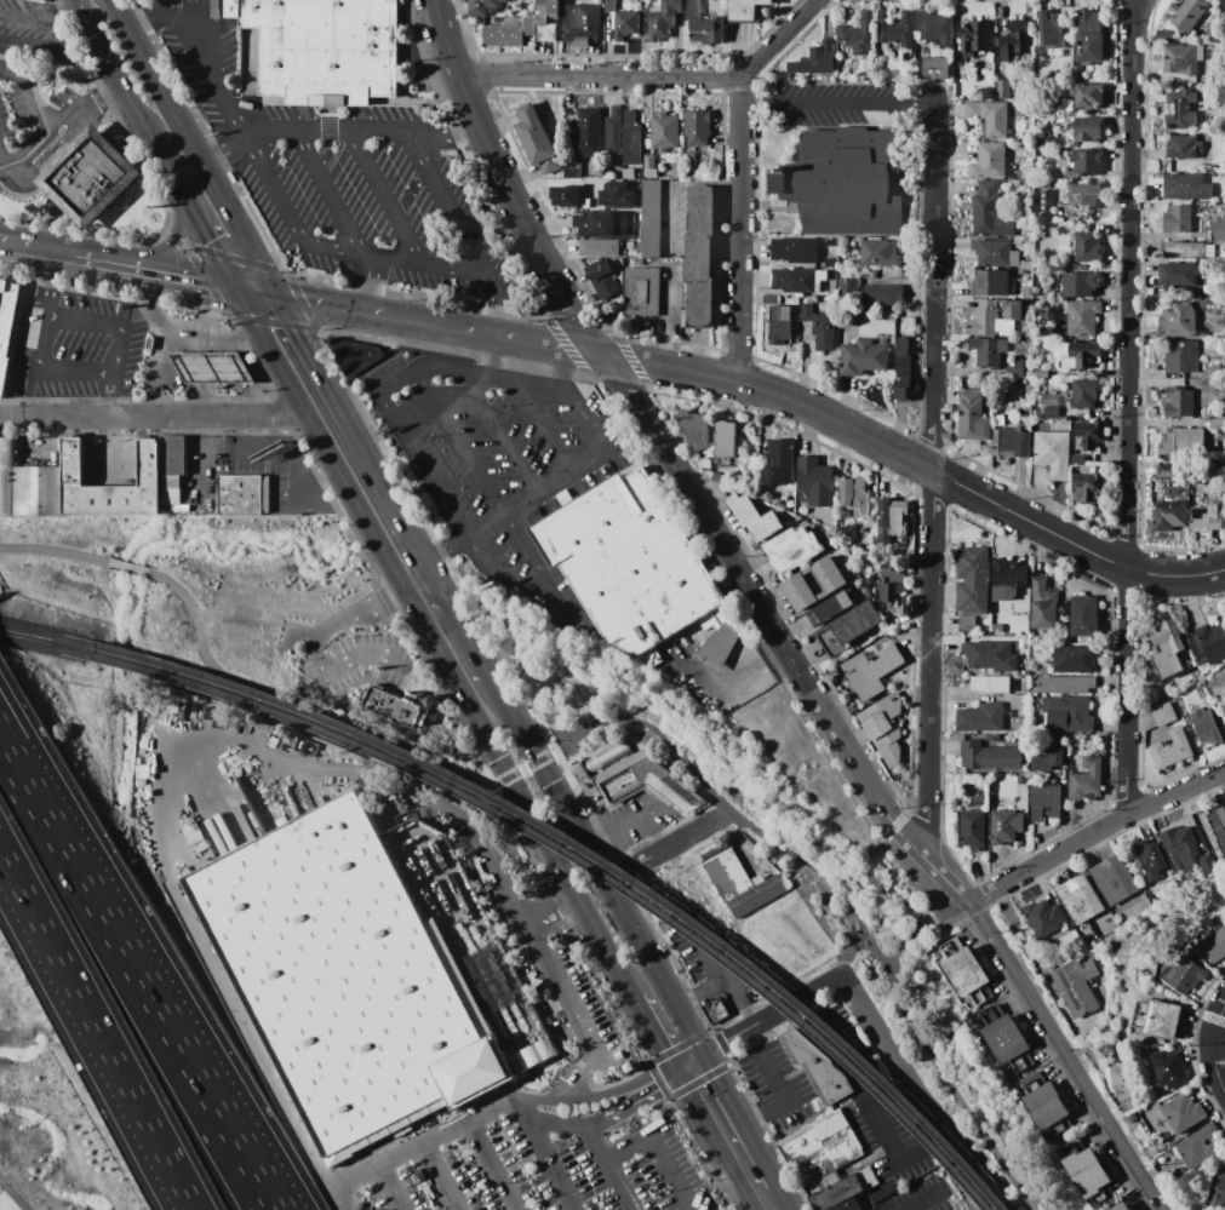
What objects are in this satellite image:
building: (44, 0)
building: (1223, 1)
building: (482, 6)
building: (609, 6)
building: (216, 10)
building: (693, 10)
building: (746, 10)
building: (1189, 13)
road: (42, 17)
building: (548, 19)
building: (664, 19)
building: (580, 22)
building: (1091, 22)
building: (624, 25)
building: (934, 27)
building: (895, 29)
building: (1049, 30)
building: (708, 31)
building: (744, 33)
building: (509, 34)
building: (858, 35)
building: (1166, 35)
building: (977, 38)
building: (1017, 44)
building: (1092, 47)
building: (325, 48)
building: (897, 58)
road: (141, 59)
building: (817, 59)
building: (1181, 59)
building: (983, 64)
road: (110, 67)
building: (935, 68)
building: (1080, 70)
building: (866, 74)
building: (961, 74)
road: (601, 79)
building: (1002, 90)
building: (1088, 96)
building: (1210, 97)
road: (91, 102)
road: (838, 102)
building: (1066, 105)
parking lot: (16, 110)
building: (973, 110)
building: (1181, 110)
building: (617, 111)
road: (34, 115)
building: (629, 117)
building: (995, 119)
building: (1209, 119)
building: (697, 128)
building: (1088, 130)
building: (664, 131)
building: (589, 133)
building: (613, 134)
road: (279, 137)
road: (327, 137)
road: (447, 139)
building: (537, 139)
building: (632, 145)
road: (414, 148)
building: (1184, 148)
road: (0, 157)
building: (688, 159)
building: (649, 162)
building: (991, 162)
building: (1088, 164)
building: (1029, 166)
building: (572, 171)
road: (24, 172)
building: (651, 174)
road: (739, 176)
building: (90, 177)
parking lot: (338, 180)
building: (845, 183)
building: (1219, 187)
building: (1187, 188)
building: (617, 195)
building: (565, 196)
building: (1086, 196)
building: (1047, 202)
road: (222, 207)
road: (188, 211)
building: (990, 213)
building: (652, 219)
building: (1195, 223)
building: (601, 224)
road: (308, 243)
building: (631, 243)
road: (167, 246)
building: (1088, 247)
building: (600, 248)
road: (15, 251)
building: (795, 251)
building: (1184, 251)
building: (1209, 251)
building: (880, 253)
building: (995, 254)
building: (702, 256)
road: (52, 258)
building: (617, 262)
building: (637, 262)
building: (1026, 265)
road: (104, 268)
building: (870, 274)
building: (1181, 275)
building: (603, 279)
building: (795, 280)
road: (183, 282)
building: (998, 282)
building: (981, 283)
building: (1080, 283)
road: (46, 288)
building: (848, 288)
traffic signals: (233, 291)
building: (643, 292)
building: (1029, 292)
road: (252, 294)
building: (883, 294)
traffic signals: (273, 298)
building: (771, 299)
road: (328, 308)
building: (1206, 308)
road: (213, 310)
building: (807, 311)
building: (995, 317)
building: (685, 319)
building: (1080, 319)
building: (1179, 321)
building: (782, 325)
building: (10, 329)
road: (187, 331)
road: (466, 332)
building: (825, 332)
building: (1031, 332)
road: (190, 342)
building: (150, 344)
road: (227, 344)
road: (265, 351)
building: (988, 351)
road: (577, 352)
road: (305, 355)
building: (353, 355)
building: (863, 357)
building: (1181, 357)
building: (1084, 359)
road: (114, 361)
road: (200, 368)
building: (213, 368)
gas station: (213, 368)
road: (236, 368)
building: (904, 368)
building: (1015, 368)
road: (445, 371)
building: (1041, 373)
road: (261, 383)
road: (517, 384)
building: (1209, 386)
building: (1084, 394)
road: (109, 395)
road: (247, 398)
road: (207, 400)
building: (1049, 401)
building: (1180, 403)
road: (1129, 408)
building: (1051, 412)
building: (1036, 413)
road: (150, 417)
building: (973, 417)
road: (589, 424)
building: (1217, 424)
road: (542, 429)
building: (695, 429)
building: (1091, 434)
road: (499, 435)
building: (726, 440)
building: (1190, 440)
building: (1170, 441)
building: (1012, 443)
road: (104, 447)
building: (1052, 453)
building: (174, 455)
parking lot: (502, 460)
building: (1078, 460)
building: (1214, 461)
building: (703, 463)
road: (918, 463)
building: (780, 464)
road: (672, 465)
building: (1167, 471)
road: (933, 472)
building: (74, 477)
building: (719, 478)
building: (815, 481)
building: (172, 482)
building: (28, 484)
building: (1091, 486)
building: (1168, 487)
building: (245, 494)
building: (855, 495)
building: (172, 497)
road: (388, 497)
road: (351, 505)
road: (517, 507)
building: (181, 509)
building: (744, 509)
building: (894, 515)
building: (1170, 516)
building: (1208, 517)
building: (766, 526)
building: (794, 550)
road: (56, 552)
park: (193, 560)
road: (131, 567)
building: (635, 567)
building: (1008, 579)
building: (973, 580)
building: (815, 584)
road: (531, 587)
building: (888, 589)
road: (441, 591)
road: (105, 595)
building: (1021, 602)
building: (1044, 604)
road: (410, 607)
building: (830, 609)
building: (1084, 617)
building: (967, 624)
building: (851, 627)
building: (996, 630)
railway: (35, 635)
road: (322, 638)
road: (470, 638)
building: (1208, 644)
railway: (34, 647)
building: (1167, 649)
road: (542, 654)
building: (990, 655)
building: (1075, 659)
parking lot: (371, 663)
building: (871, 669)
building: (991, 683)
road: (557, 684)
building: (1066, 684)
road: (580, 687)
building: (1223, 699)
road: (297, 704)
building: (397, 706)
building: (1069, 715)
building: (1164, 715)
building: (980, 718)
road: (391, 727)
building: (885, 727)
building: (1206, 727)
road: (2, 740)
road: (2, 741)
building: (1172, 749)
road: (546, 757)
building: (606, 757)
building: (989, 757)
building: (1048, 759)
road: (523, 769)
building: (1087, 779)
road: (500, 781)
building: (642, 784)
road: (166, 785)
building: (1044, 802)
road: (523, 808)
road: (634, 808)
building: (1006, 821)
building: (1218, 822)
building: (973, 830)
road: (1092, 835)
road: (670, 844)
building: (1180, 845)
railway: (582, 847)
railway: (571, 854)
building: (1150, 859)
road: (602, 865)
building: (726, 871)
park: (785, 871)
building: (1115, 881)
road: (843, 894)
building: (757, 895)
building: (1081, 899)
building: (1133, 911)
building: (1044, 918)
road: (917, 927)
building: (1099, 933)
road: (895, 934)
building: (1030, 945)
building: (1215, 946)
road: (845, 954)
road: (137, 970)
road: (720, 970)
building: (964, 974)
building: (1184, 975)
building: (350, 980)
building: (1077, 986)
road: (562, 988)
building: (716, 1010)
building: (1160, 1019)
road: (762, 1026)
road: (98, 1028)
building: (601, 1030)
road: (1221, 1031)
road: (657, 1036)
road: (759, 1039)
building: (1006, 1039)
road: (1221, 1039)
road: (1065, 1055)
traffic signals: (710, 1056)
road: (1219, 1062)
building: (818, 1068)
building: (1170, 1069)
traffic signals: (680, 1074)
road: (874, 1090)
road: (921, 1095)
road: (601, 1099)
building: (1048, 1107)
building: (1184, 1113)
road: (744, 1118)
road: (613, 1119)
building: (1135, 1120)
parking lot: (551, 1128)
crop: (41, 1134)
road: (717, 1142)
road: (594, 1145)
building: (824, 1146)
road: (428, 1147)
building: (1200, 1147)
road: (657, 1152)
road: (545, 1155)
road: (900, 1160)
road: (496, 1168)
building: (1091, 1174)
road: (442, 1179)
building: (1215, 1185)
road: (617, 1186)
road: (397, 1189)
building: (845, 1192)
road: (910, 1194)
road: (12, 1195)
road: (786, 1195)
road: (274, 1202)
road: (343, 1202)
road: (900, 1205)
building: (1123, 1206)
building: (876, 1208)
building: (1223, 1209)

